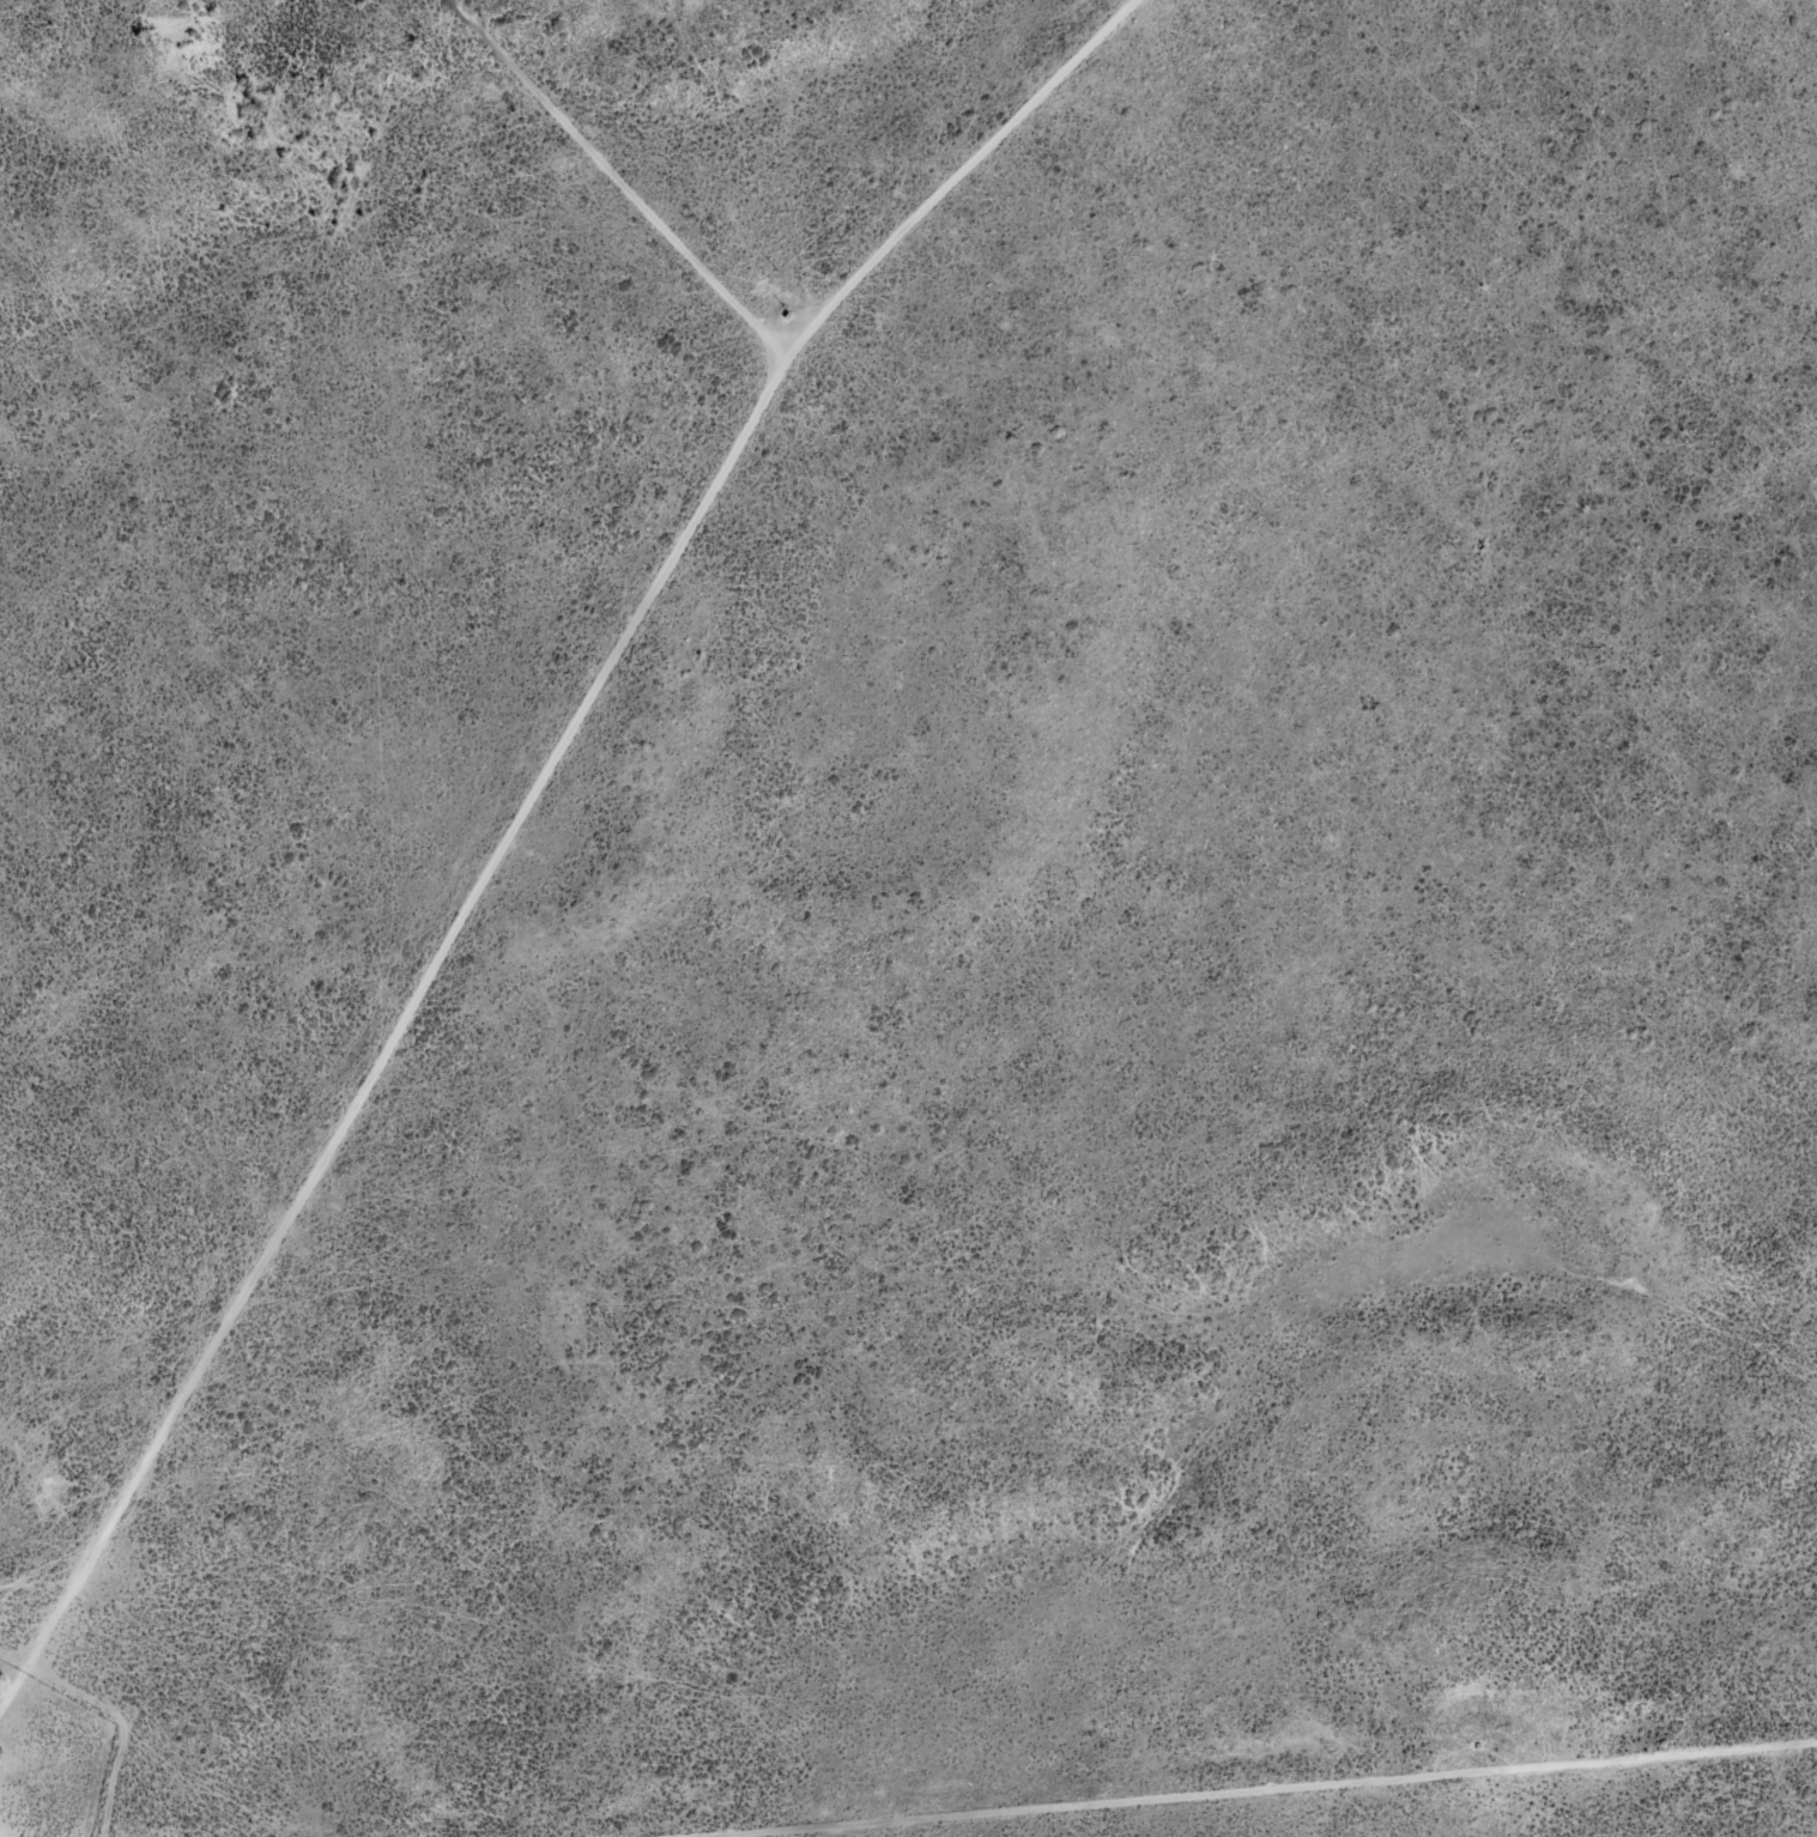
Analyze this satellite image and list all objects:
road: (1009, 170)
road: (540, 861)

